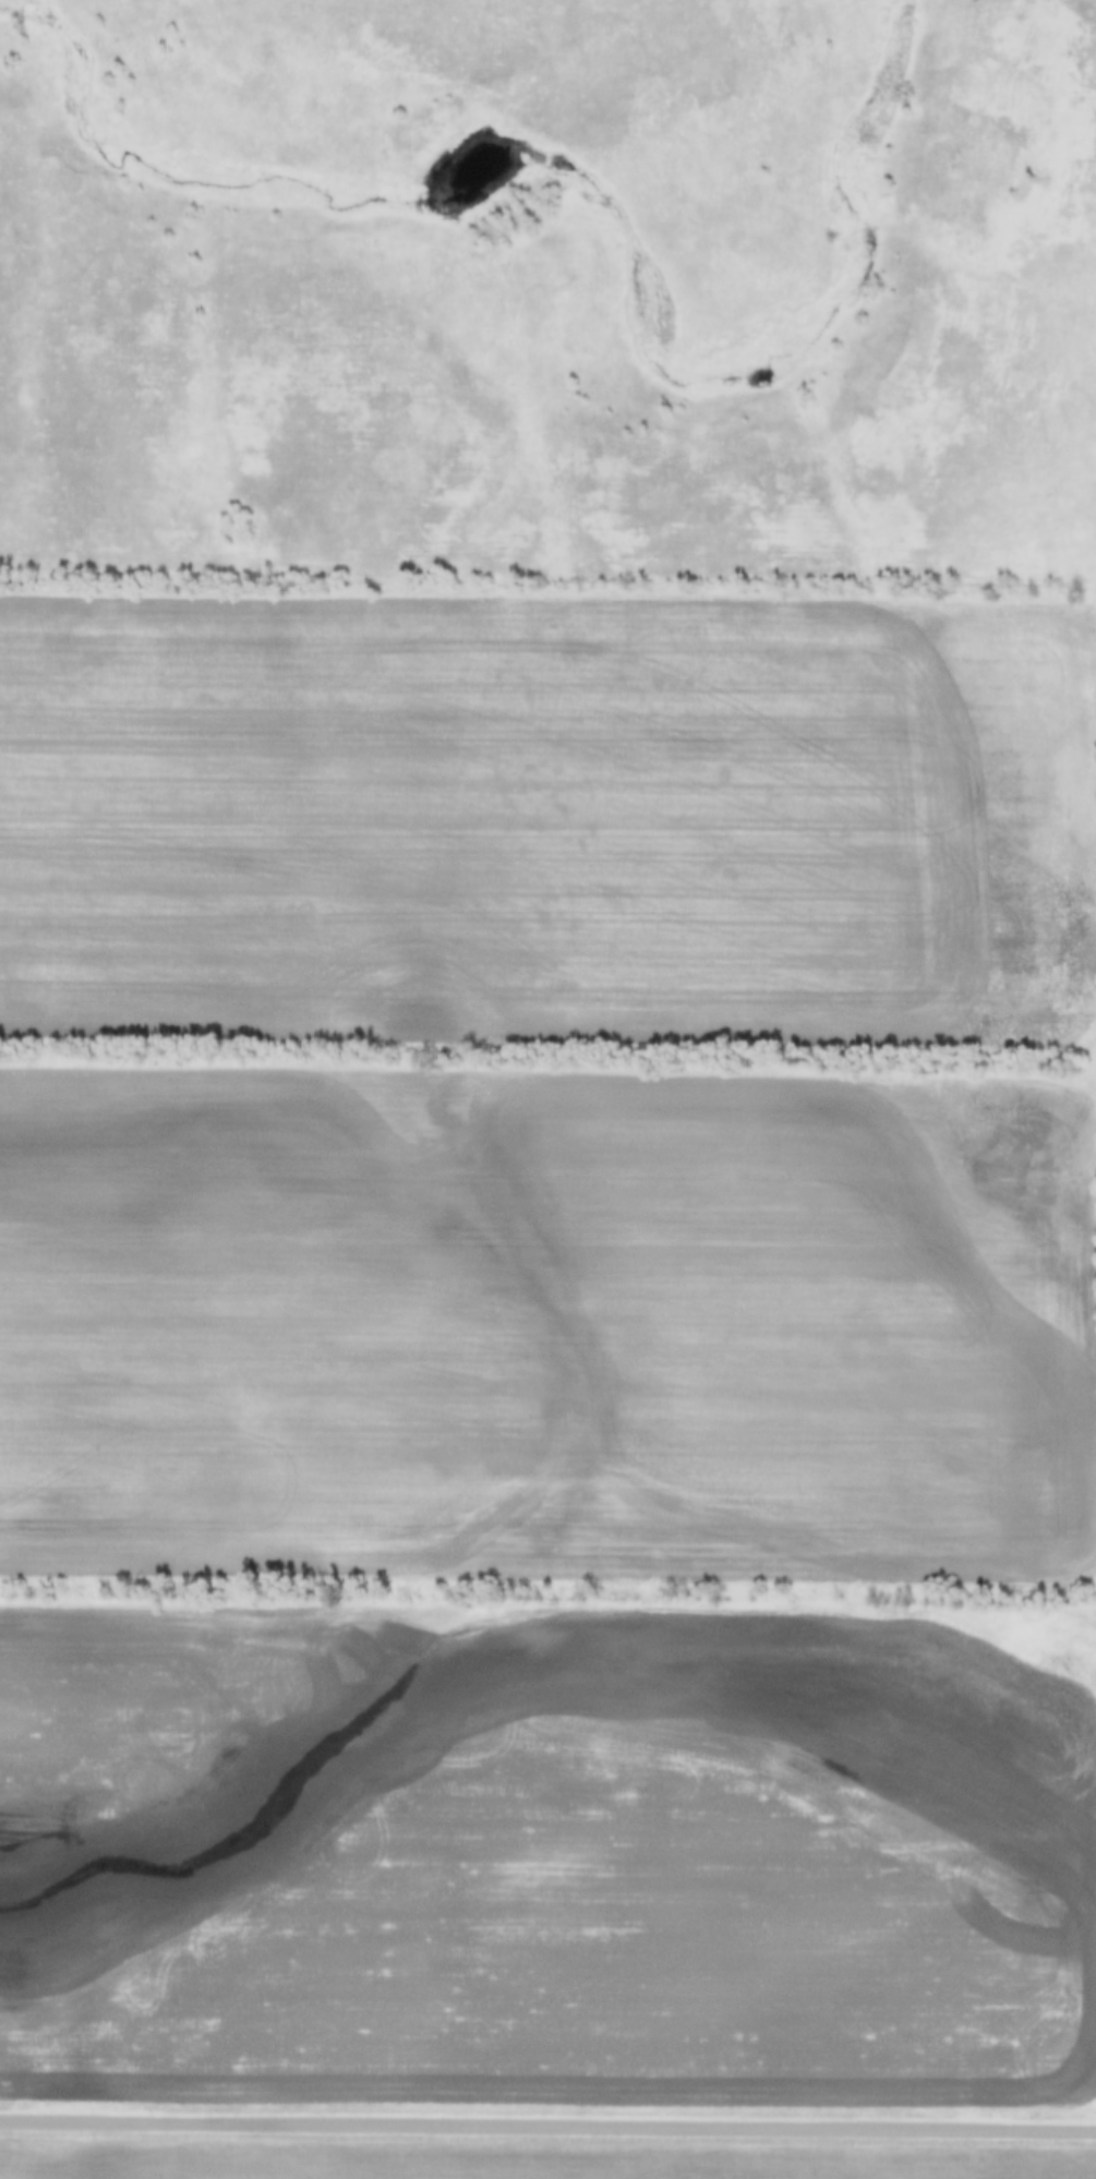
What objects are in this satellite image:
road: (547, 2127)

